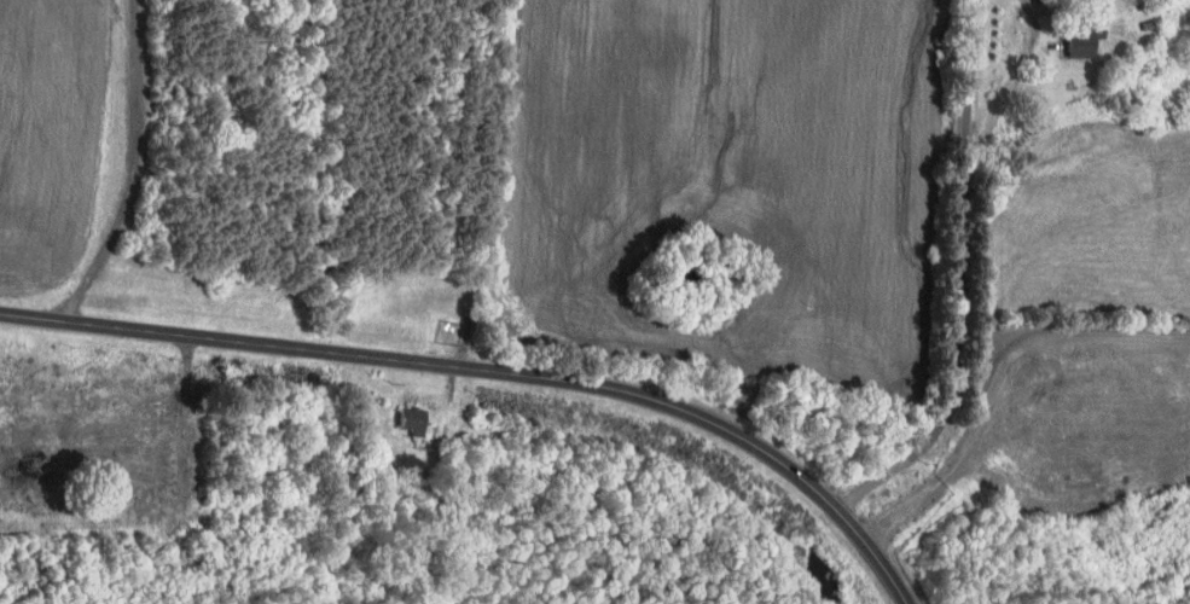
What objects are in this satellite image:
building: (1076, 40)
road: (956, 279)
road: (1079, 330)
road: (495, 372)
building: (406, 419)
road: (946, 474)

